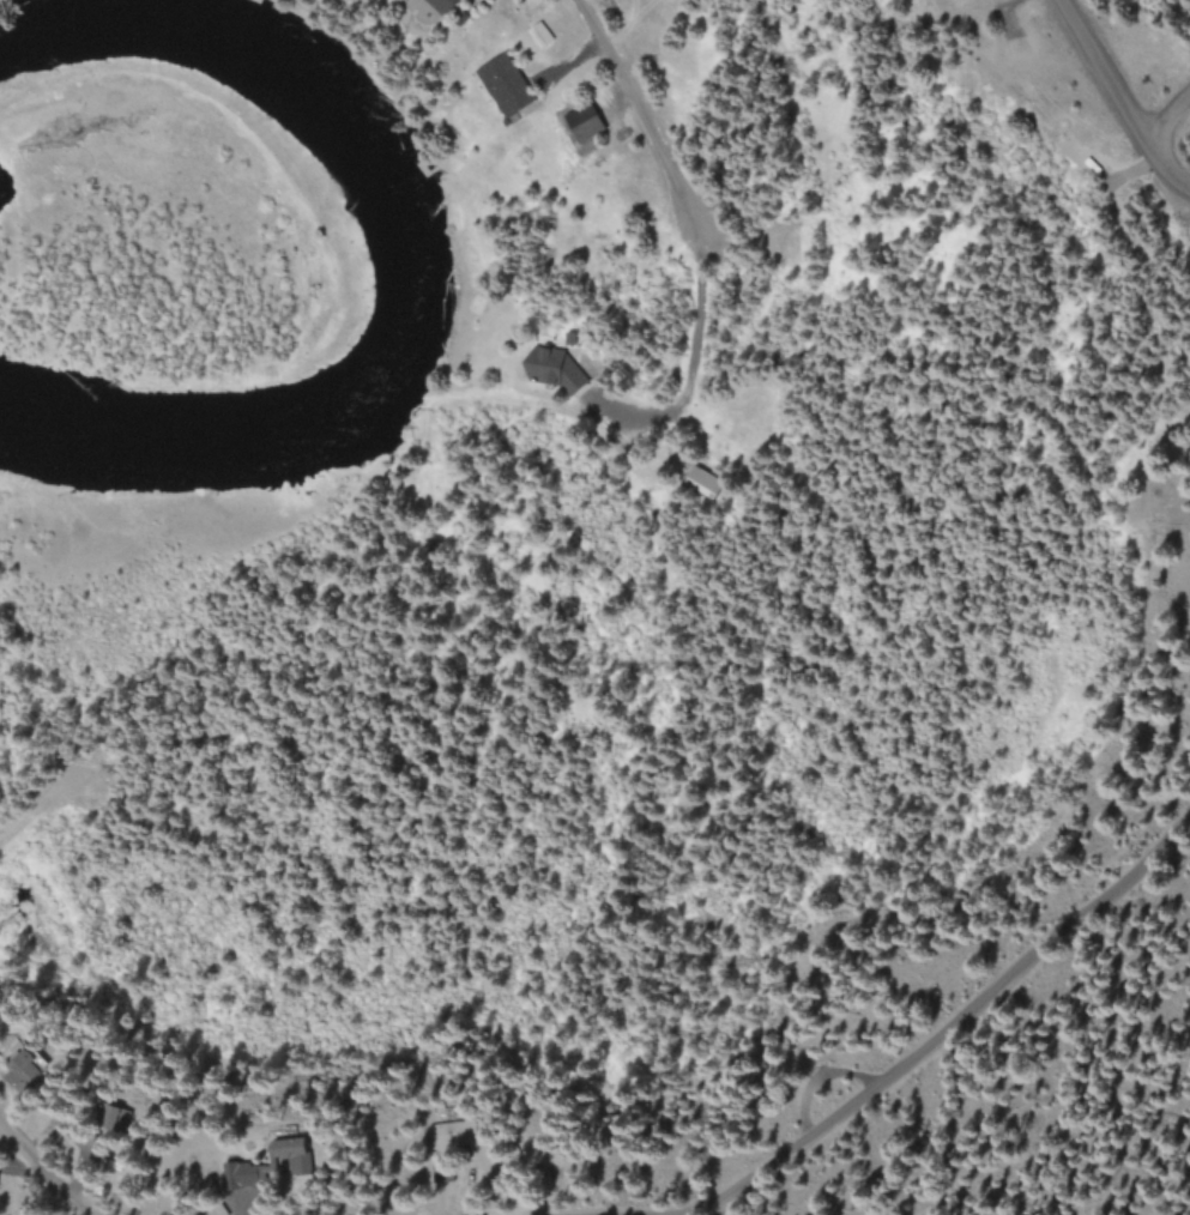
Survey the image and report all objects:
building: (443, 5)
building: (540, 35)
building: (506, 84)
road: (1117, 104)
road: (648, 117)
building: (586, 121)
road: (1166, 135)
river: (406, 255)
building: (555, 370)
road: (37, 810)
road: (937, 1035)
building: (29, 1068)
building: (455, 1132)
road: (43, 1173)

